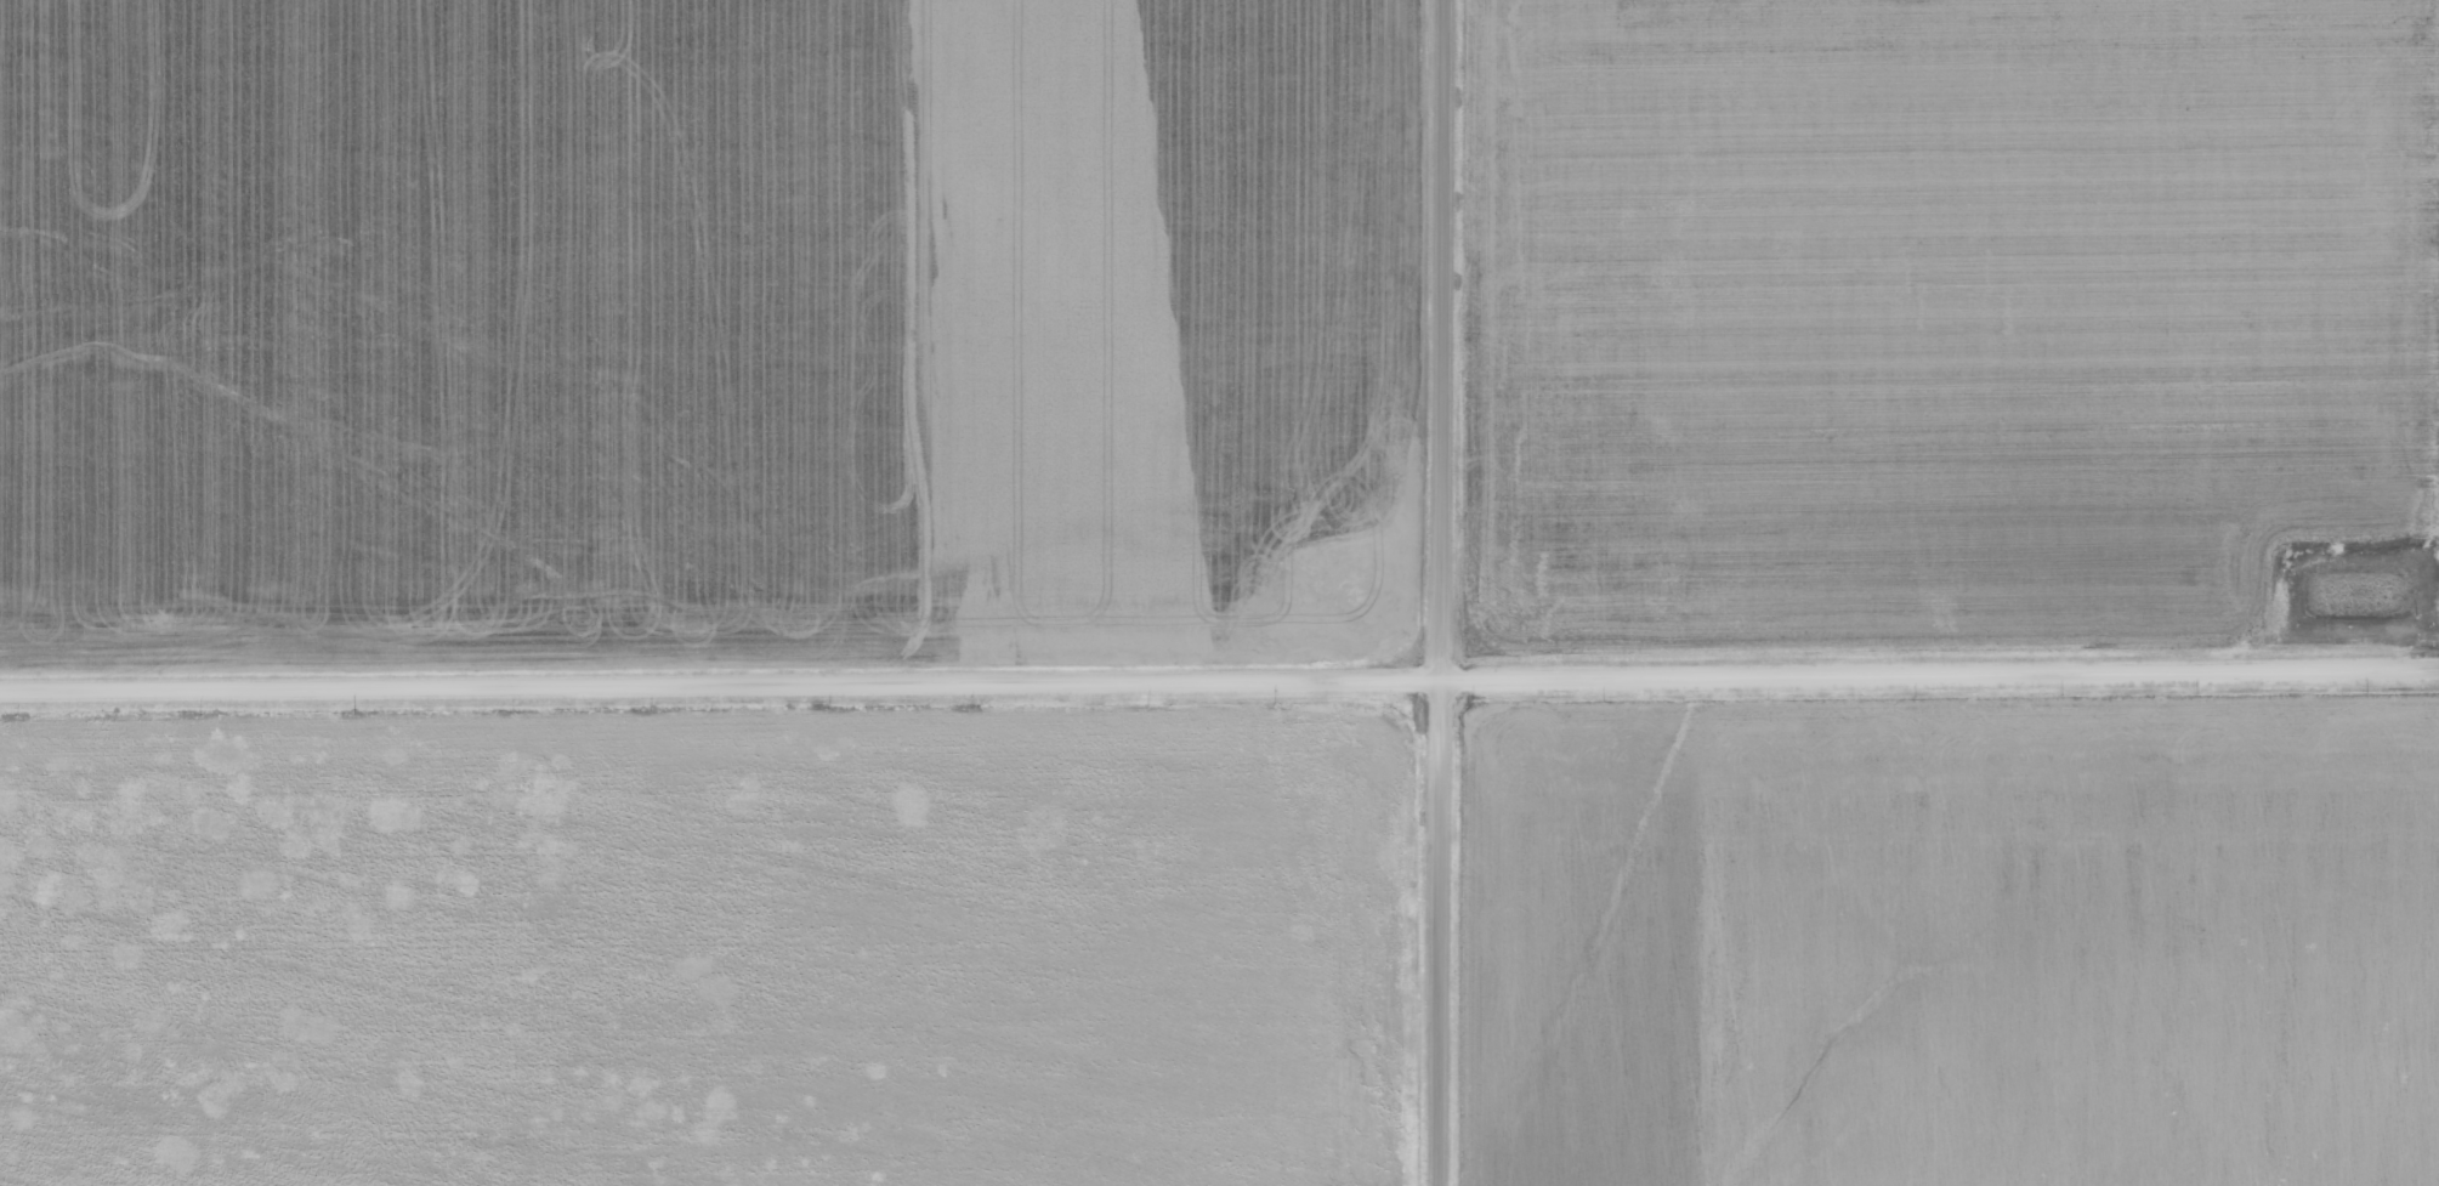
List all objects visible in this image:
crop: (609, 300)
road: (1439, 592)
road: (1219, 673)

